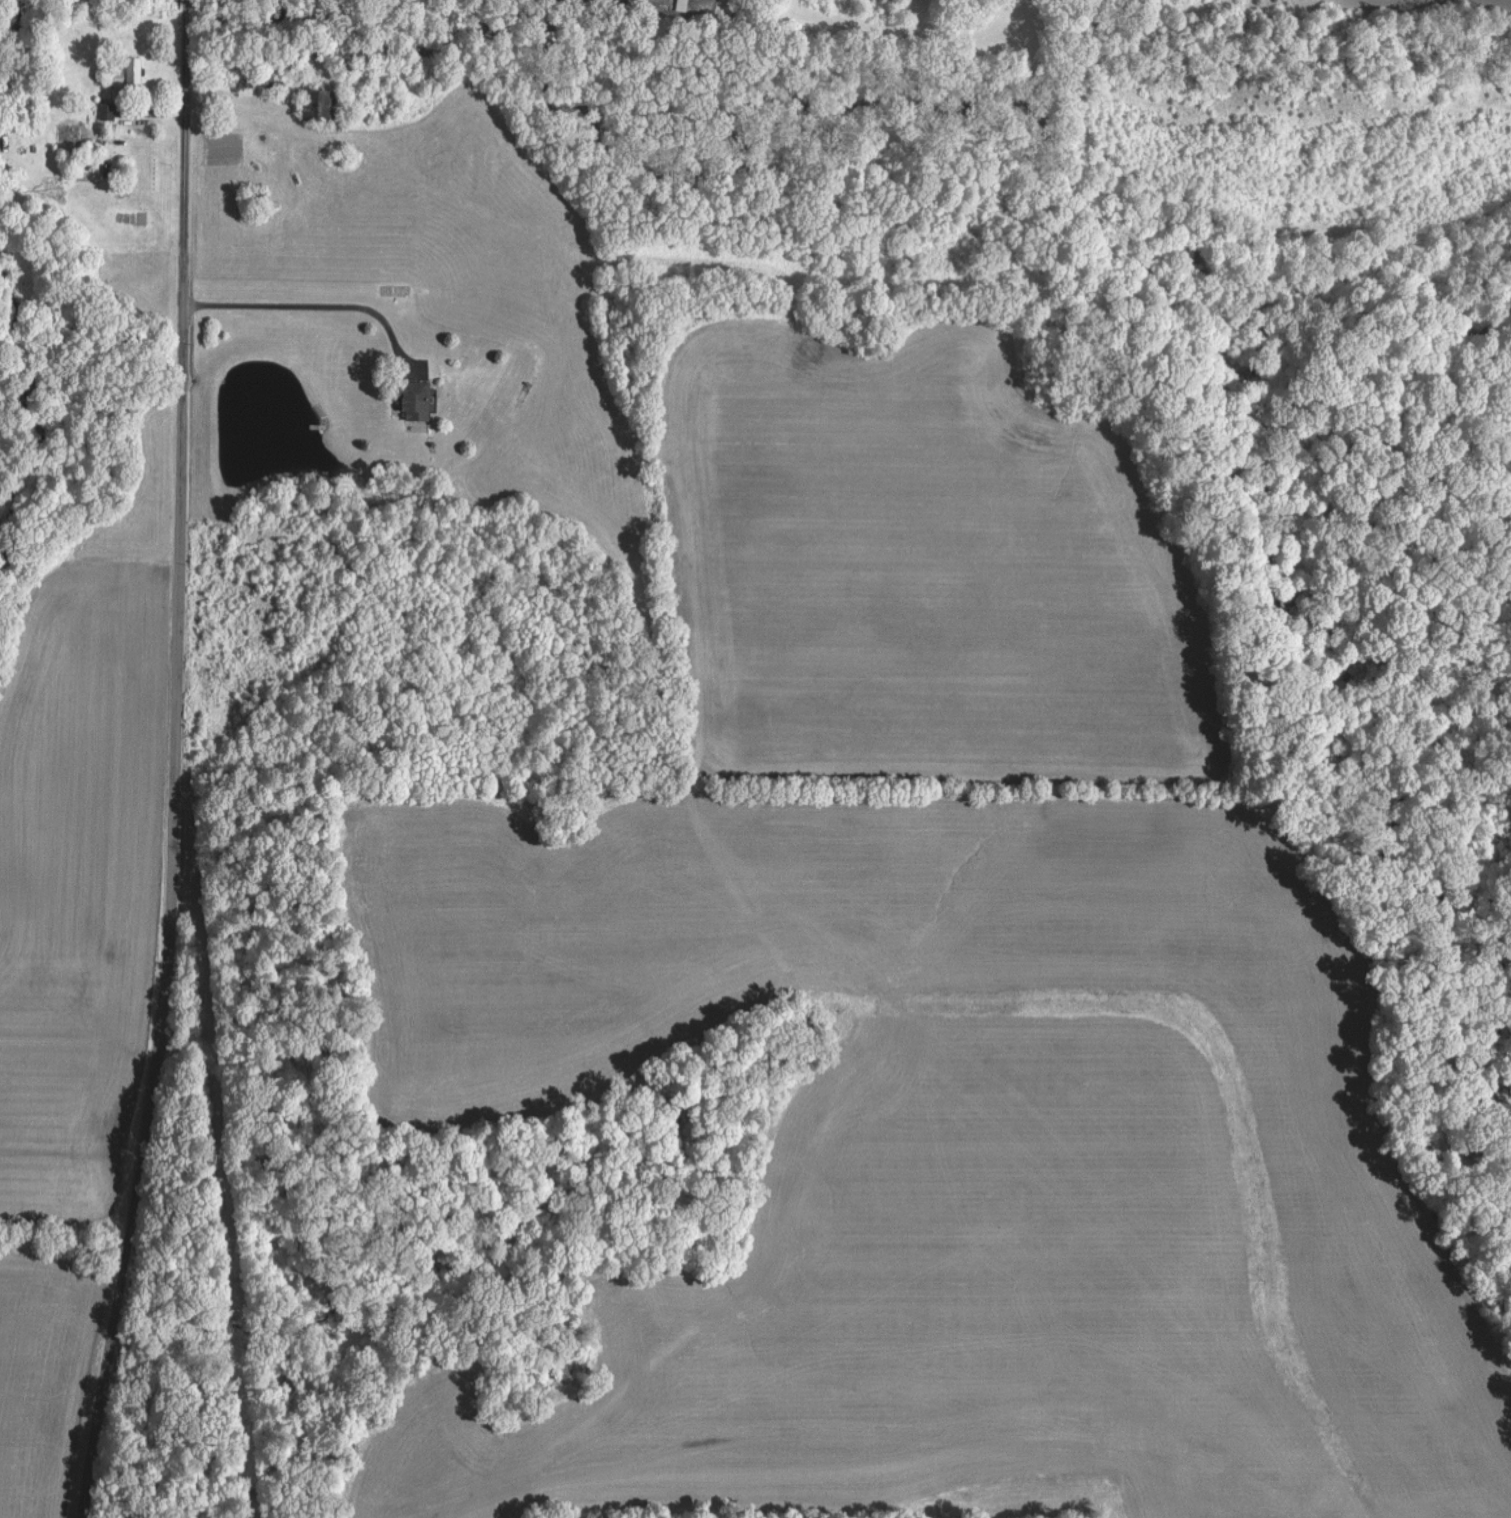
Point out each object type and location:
building: (136, 70)
building: (330, 103)
building: (419, 400)
road: (171, 762)

